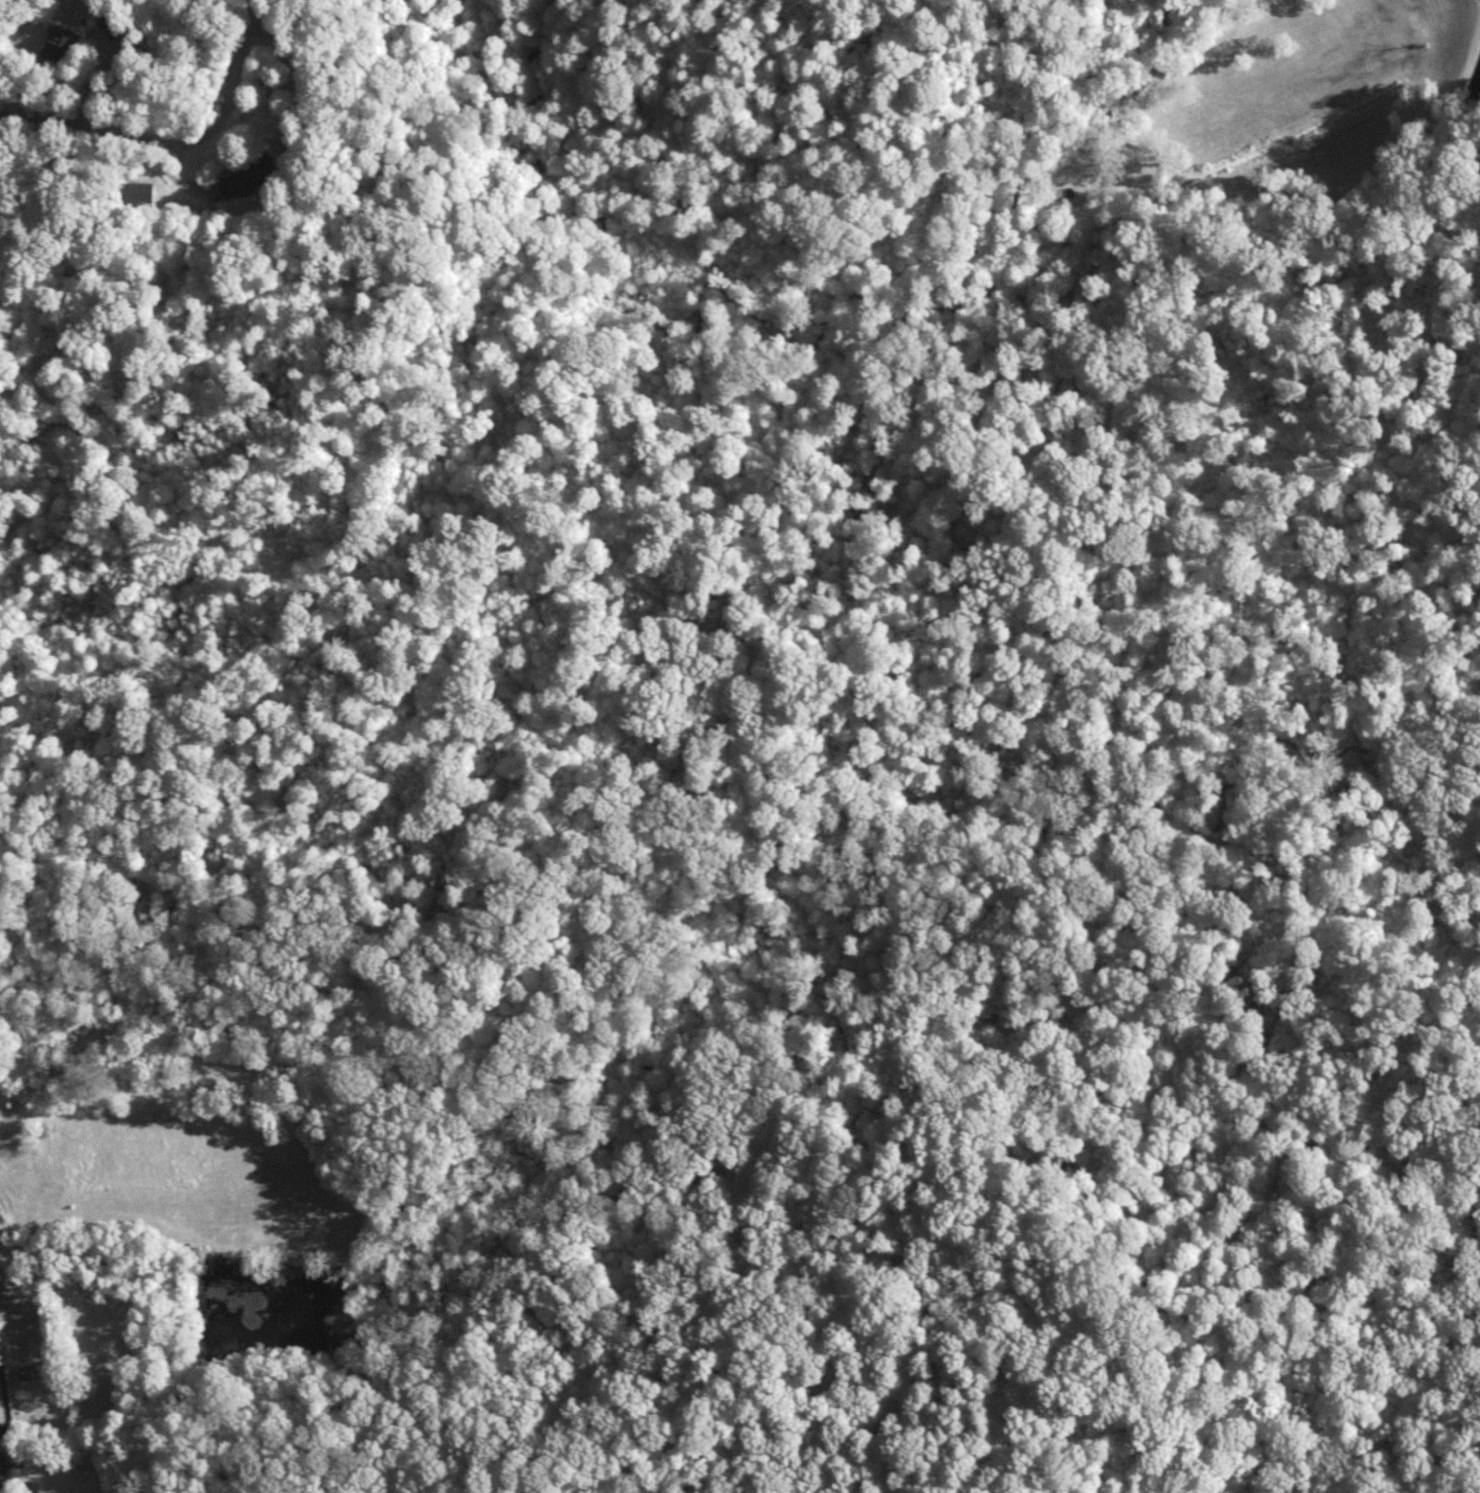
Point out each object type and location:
building: (59, 44)
road: (178, 145)
building: (238, 180)
building: (138, 190)
building: (3, 1343)
road: (7, 1406)
building: (8, 1469)

